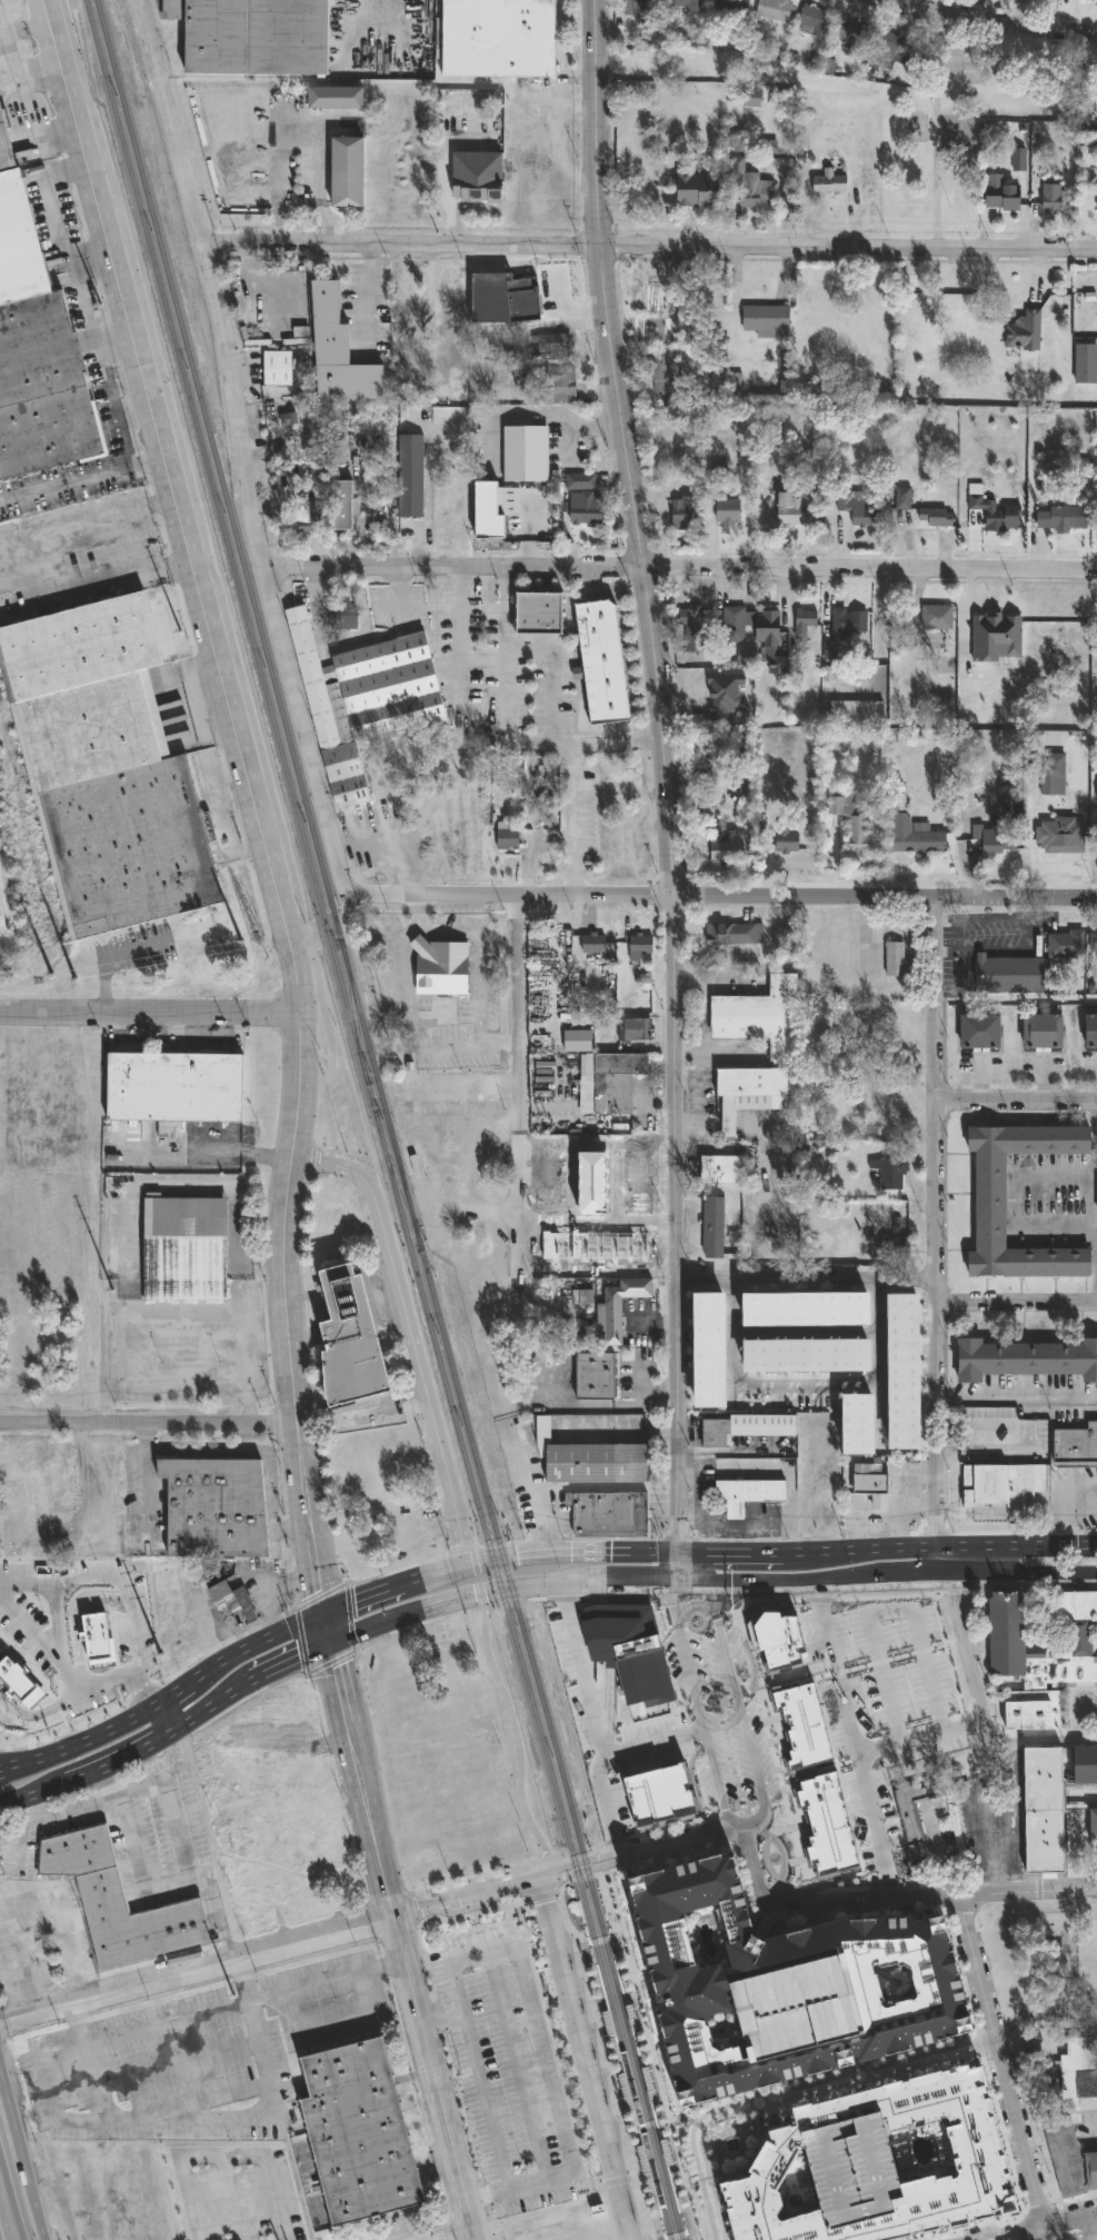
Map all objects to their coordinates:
power tower: (11, 0)
building: (1090, 0)
building: (687, 4)
building: (639, 7)
building: (730, 7)
building: (774, 10)
building: (814, 22)
road: (1008, 22)
road: (31, 26)
building: (251, 36)
building: (854, 36)
building: (497, 38)
building: (896, 49)
road: (44, 74)
road: (27, 93)
building: (335, 99)
building: (529, 120)
road: (595, 122)
park: (951, 128)
park: (946, 132)
road: (927, 171)
building: (346, 172)
building: (476, 178)
building: (828, 183)
building: (749, 187)
building: (697, 190)
building: (1000, 195)
road: (49, 196)
building: (1050, 199)
building: (1096, 200)
road: (399, 246)
road: (847, 246)
road: (82, 282)
power tower: (92, 283)
building: (448, 293)
road: (370, 298)
building: (407, 307)
building: (765, 320)
building: (1023, 331)
building: (554, 345)
building: (34, 349)
building: (338, 352)
building: (1085, 364)
building: (276, 370)
building: (660, 375)
building: (558, 386)
road: (117, 402)
road: (530, 417)
road: (239, 440)
building: (525, 455)
building: (409, 476)
building: (586, 500)
road: (174, 502)
building: (341, 507)
building: (789, 510)
building: (991, 511)
building: (306, 512)
building: (858, 512)
building: (727, 515)
building: (681, 516)
building: (935, 518)
building: (1060, 519)
building: (485, 520)
road: (679, 565)
road: (215, 580)
road: (137, 583)
road: (401, 591)
parking lot: (398, 607)
building: (545, 618)
building: (936, 619)
building: (805, 620)
building: (847, 624)
building: (732, 627)
building: (1023, 628)
building: (691, 630)
road: (465, 633)
building: (768, 635)
building: (994, 638)
road: (488, 658)
power tower: (183, 659)
building: (607, 668)
road: (551, 675)
building: (363, 699)
parking lot: (518, 700)
building: (699, 707)
building: (855, 713)
road: (511, 727)
building: (104, 770)
building: (1054, 771)
building: (1096, 792)
building: (1007, 806)
building: (852, 820)
road: (578, 822)
building: (1060, 836)
building: (506, 840)
building: (995, 840)
building: (926, 842)
building: (542, 843)
building: (785, 845)
building: (725, 848)
road: (715, 896)
road: (670, 912)
road: (993, 919)
building: (1, 923)
road: (1027, 923)
building: (732, 936)
road: (957, 938)
building: (784, 939)
power tower: (257, 942)
building: (592, 945)
road: (479, 946)
parking lot: (987, 946)
building: (1064, 946)
building: (1093, 946)
building: (638, 950)
road: (980, 954)
building: (894, 959)
road: (124, 965)
building: (439, 967)
power tower: (61, 975)
building: (1008, 977)
railway: (351, 987)
road: (147, 1008)
road: (411, 1008)
railway: (352, 1012)
building: (759, 1021)
building: (894, 1028)
building: (632, 1032)
building: (1090, 1033)
building: (978, 1034)
building: (1041, 1034)
road: (497, 1044)
road: (515, 1065)
building: (604, 1078)
building: (173, 1089)
building: (449, 1091)
building: (748, 1095)
building: (896, 1097)
road: (1015, 1102)
railway: (371, 1103)
road: (207, 1151)
road: (309, 1164)
building: (624, 1167)
building: (719, 1172)
building: (889, 1172)
road: (1093, 1178)
railway: (396, 1181)
road: (1011, 1199)
building: (989, 1203)
building: (712, 1229)
road: (242, 1245)
building: (888, 1247)
building: (183, 1251)
road: (263, 1263)
road: (282, 1270)
road: (804, 1281)
road: (1096, 1294)
road: (1016, 1302)
power tower: (113, 1303)
road: (181, 1310)
building: (617, 1311)
building: (797, 1312)
building: (717, 1316)
road: (936, 1334)
road: (798, 1338)
building: (350, 1343)
road: (415, 1352)
building: (699, 1354)
building: (799, 1361)
building: (1026, 1361)
road: (874, 1365)
building: (895, 1375)
building: (594, 1377)
road: (745, 1390)
building: (724, 1393)
road: (1016, 1402)
road: (147, 1420)
building: (849, 1427)
building: (746, 1428)
building: (990, 1432)
building: (1073, 1445)
road: (199, 1452)
road: (729, 1453)
building: (595, 1464)
road: (772, 1466)
road: (526, 1482)
building: (869, 1484)
building: (1001, 1484)
road: (581, 1490)
road: (701, 1496)
building: (744, 1496)
road: (908, 1497)
road: (1064, 1499)
road: (270, 1501)
building: (818, 1503)
road: (923, 1505)
building: (213, 1509)
building: (608, 1513)
road: (1080, 1514)
road: (857, 1525)
road: (746, 1526)
road: (690, 1527)
road: (780, 1549)
traffic signals: (679, 1551)
road: (312, 1572)
road: (889, 1577)
road: (48, 1580)
traffic signals: (684, 1582)
road: (581, 1583)
road: (391, 1586)
traffic signals: (316, 1591)
road: (789, 1595)
road: (127, 1596)
traffic signals: (353, 1601)
building: (230, 1602)
road: (691, 1607)
road: (866, 1613)
road: (403, 1615)
road: (29, 1626)
road: (322, 1626)
building: (98, 1632)
building: (777, 1632)
parking lot: (32, 1635)
road: (62, 1640)
road: (252, 1644)
building: (628, 1646)
building: (908, 1647)
building: (736, 1652)
traffic signals: (297, 1653)
road: (287, 1657)
building: (1040, 1660)
power tower: (159, 1662)
traffic signals: (333, 1671)
road: (928, 1673)
building: (19, 1677)
road: (884, 1680)
road: (97, 1683)
road: (168, 1693)
road: (736, 1704)
parking lot: (884, 1705)
road: (698, 1708)
road: (507, 1709)
road: (34, 1715)
road: (154, 1719)
building: (801, 1719)
road: (591, 1720)
parking lot: (609, 1728)
road: (855, 1738)
building: (926, 1743)
road: (1040, 1743)
road: (902, 1744)
road: (78, 1748)
road: (129, 1750)
road: (32, 1756)
building: (1084, 1764)
road: (0, 1772)
road: (359, 1776)
road: (108, 1783)
building: (657, 1784)
building: (912, 1808)
road: (172, 1809)
building: (1044, 1810)
building: (826, 1818)
building: (1093, 1823)
road: (995, 1825)
parking lot: (940, 1836)
building: (808, 1839)
parking lot: (133, 1843)
road: (638, 1851)
fountain: (775, 1862)
road: (750, 1863)
road: (137, 1864)
road: (556, 1883)
road: (1013, 1892)
road: (465, 1895)
road: (542, 1896)
road: (845, 1898)
building: (117, 1903)
road: (217, 1912)
road: (810, 1913)
building: (262, 1918)
road: (805, 1927)
road: (602, 1941)
road: (587, 1954)
road: (393, 1963)
road: (197, 1969)
parking lot: (23, 1978)
road: (238, 1980)
building: (688, 1982)
road: (312, 1983)
power tower: (230, 1988)
building: (792, 2002)
parking lot: (792, 2002)
road: (433, 2007)
road: (594, 2008)
road: (440, 2020)
road: (162, 2022)
road: (76, 2024)
road: (540, 2049)
parking lot: (200, 2058)
road: (1001, 2058)
road: (581, 2059)
road: (173, 2064)
road: (606, 2064)
road: (516, 2069)
parking lot: (505, 2070)
building: (1077, 2072)
road: (433, 2075)
road: (42, 2090)
road: (789, 2094)
road: (196, 2102)
road: (485, 2103)
railway: (646, 2107)
road: (209, 2120)
road: (652, 2123)
road: (772, 2129)
parking lot: (1089, 2129)
road: (1090, 2131)
building: (358, 2134)
fountain: (731, 2146)
road: (228, 2156)
building: (1068, 2158)
building: (977, 2159)
road: (21, 2161)
building: (849, 2169)
parking garage: (849, 2169)
road: (601, 2186)
parking lot: (238, 2194)
road: (10, 2200)
road: (473, 2200)
street lamp: (1051, 2201)
road: (1089, 2211)
railway: (678, 2212)
street lamp: (1025, 2214)
railway: (660, 2217)
railway: (648, 2221)
railway: (666, 2222)
road: (1028, 2226)
parking lot: (1081, 2226)
road: (1085, 2227)
road: (1047, 2230)
road: (689, 2233)
road: (846, 2233)
road: (457, 2236)
road: (1025, 2236)
road: (987, 2238)

